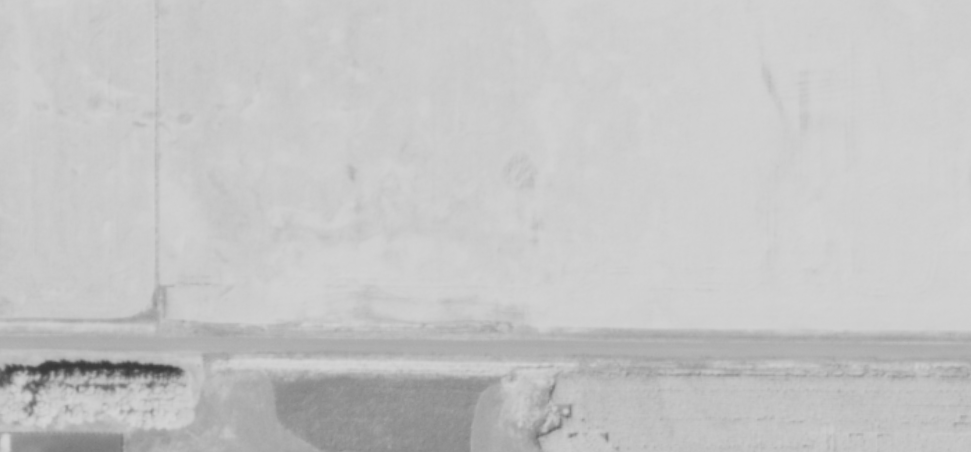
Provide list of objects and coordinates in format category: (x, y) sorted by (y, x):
crop: (330, 159)
road: (485, 345)

